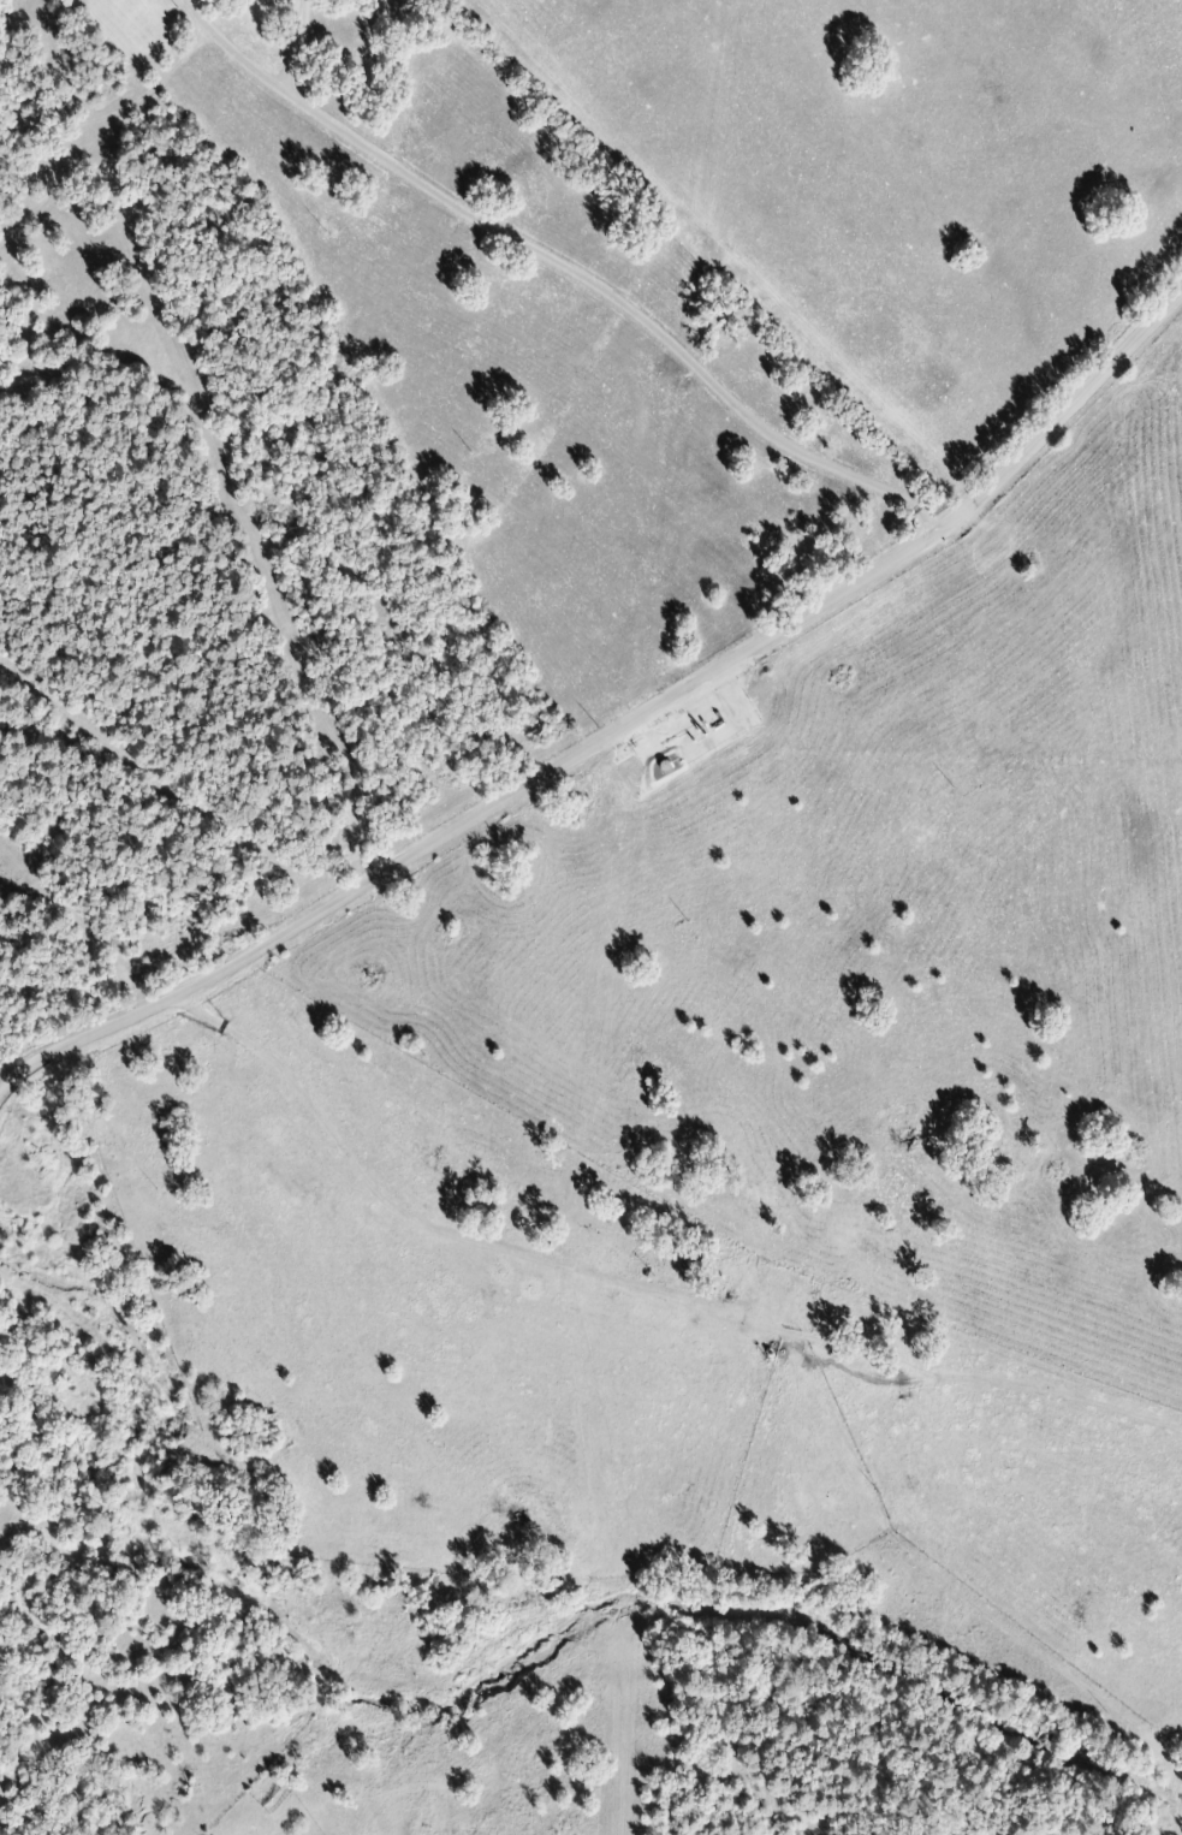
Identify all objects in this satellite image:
road: (616, 729)

